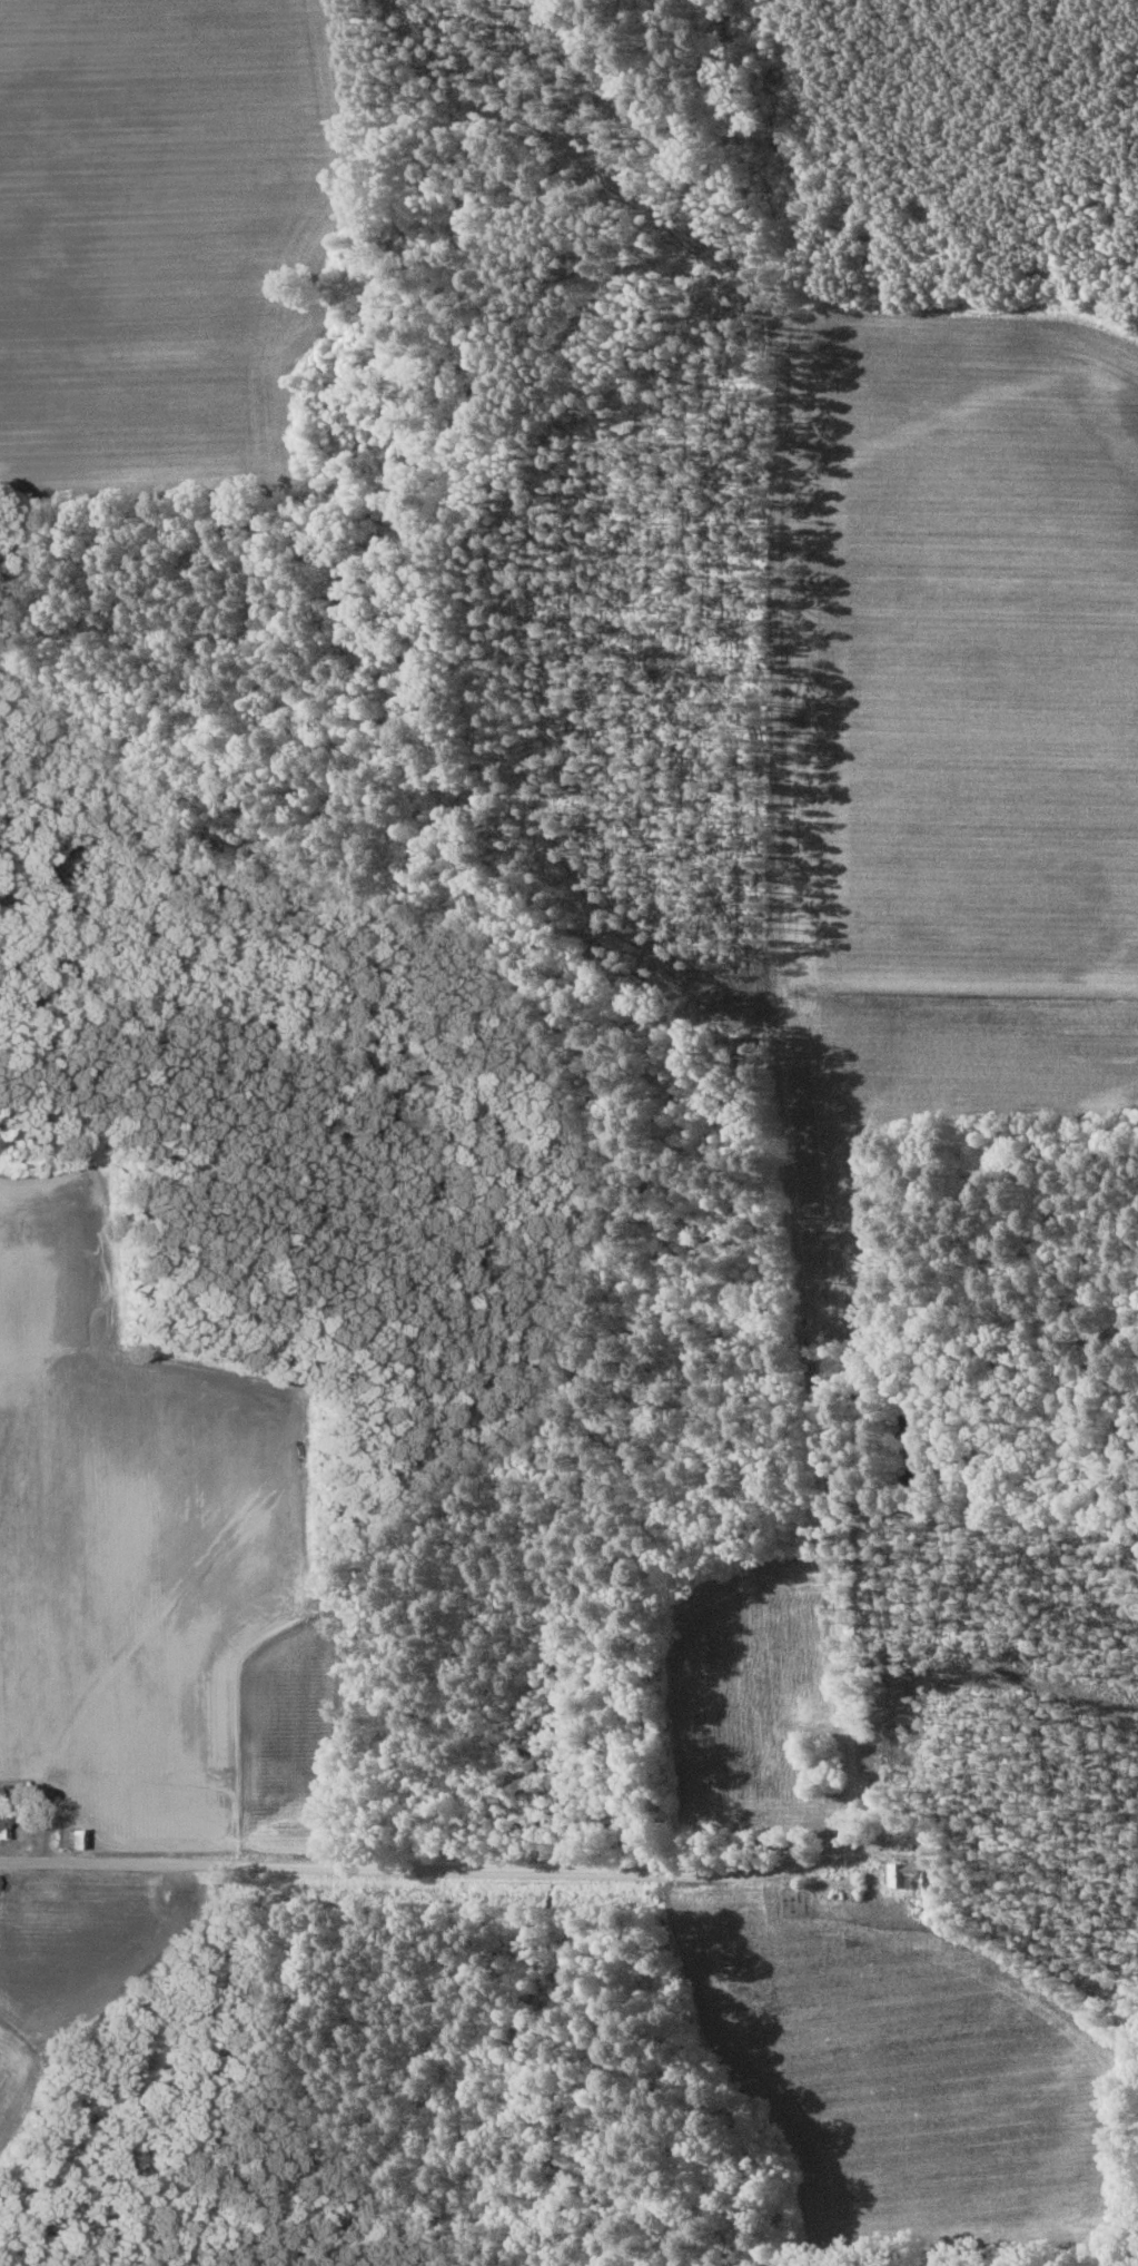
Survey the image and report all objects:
building: (0, 1829)
road: (423, 1869)
building: (911, 1874)

